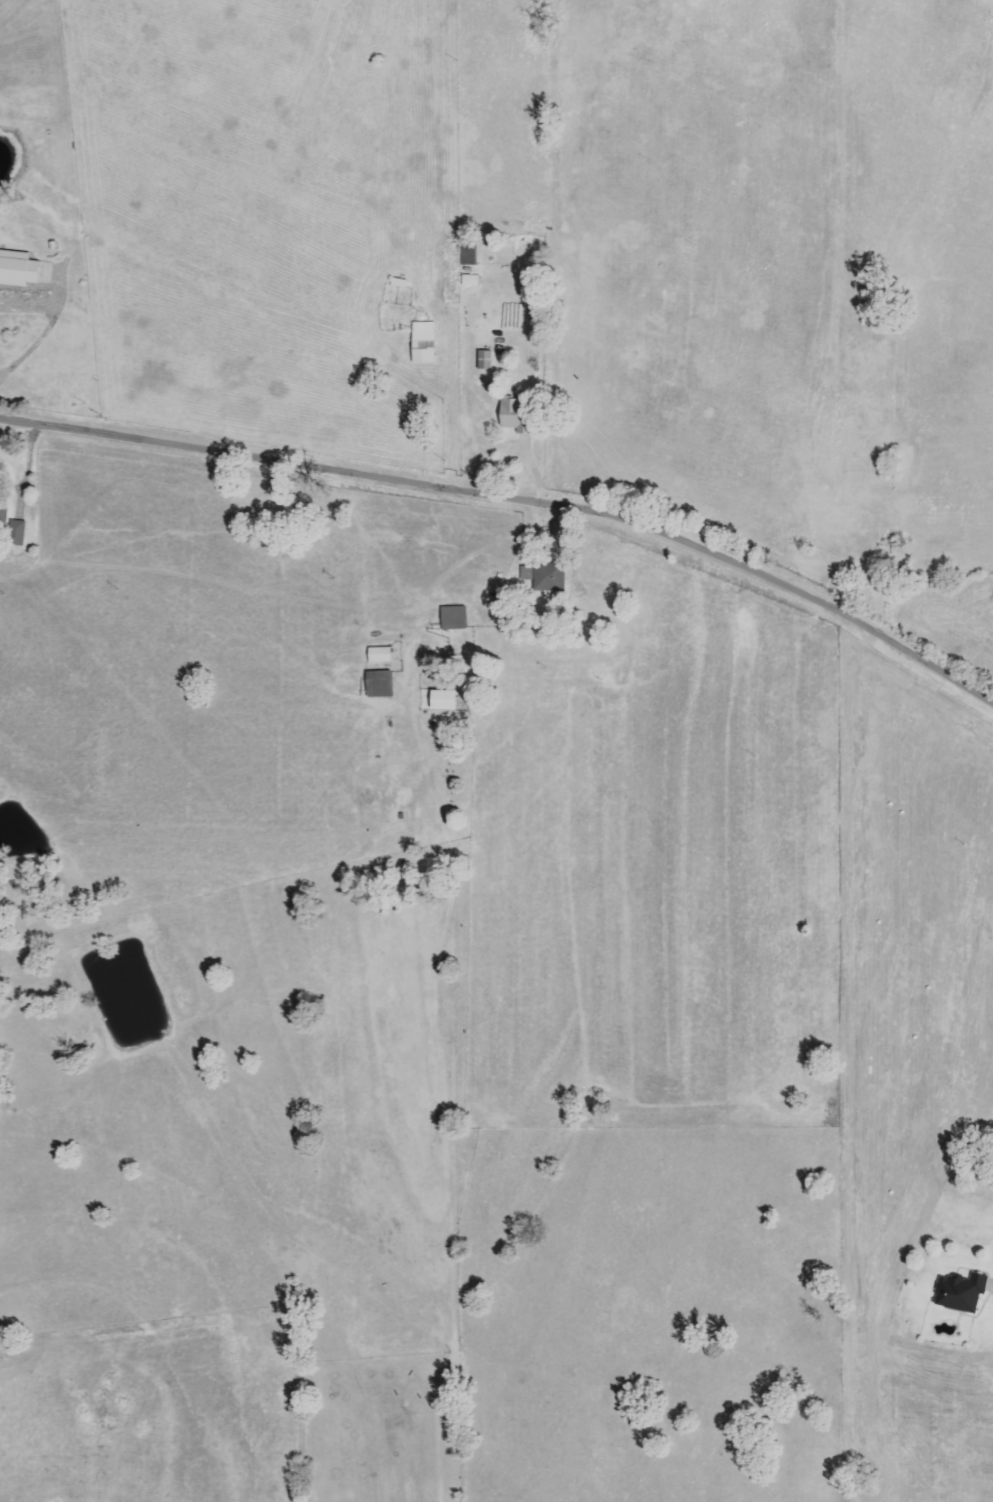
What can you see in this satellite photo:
building: (467, 252)
building: (17, 268)
building: (468, 281)
road: (28, 308)
road: (45, 328)
building: (422, 342)
building: (483, 360)
building: (513, 415)
road: (521, 472)
building: (3, 508)
building: (15, 532)
building: (548, 577)
building: (452, 618)
building: (378, 655)
building: (378, 684)
building: (441, 700)
building: (959, 1292)

